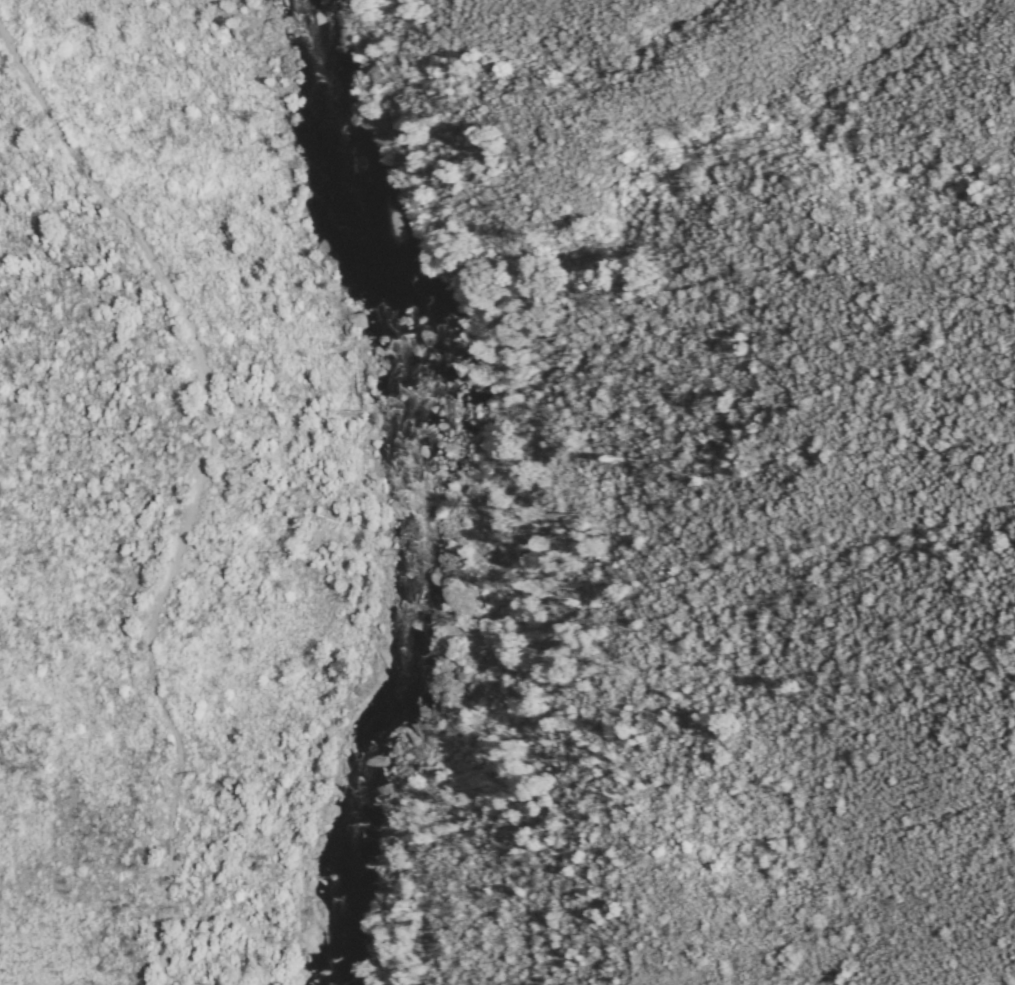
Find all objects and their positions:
road: (200, 480)
river: (388, 489)

